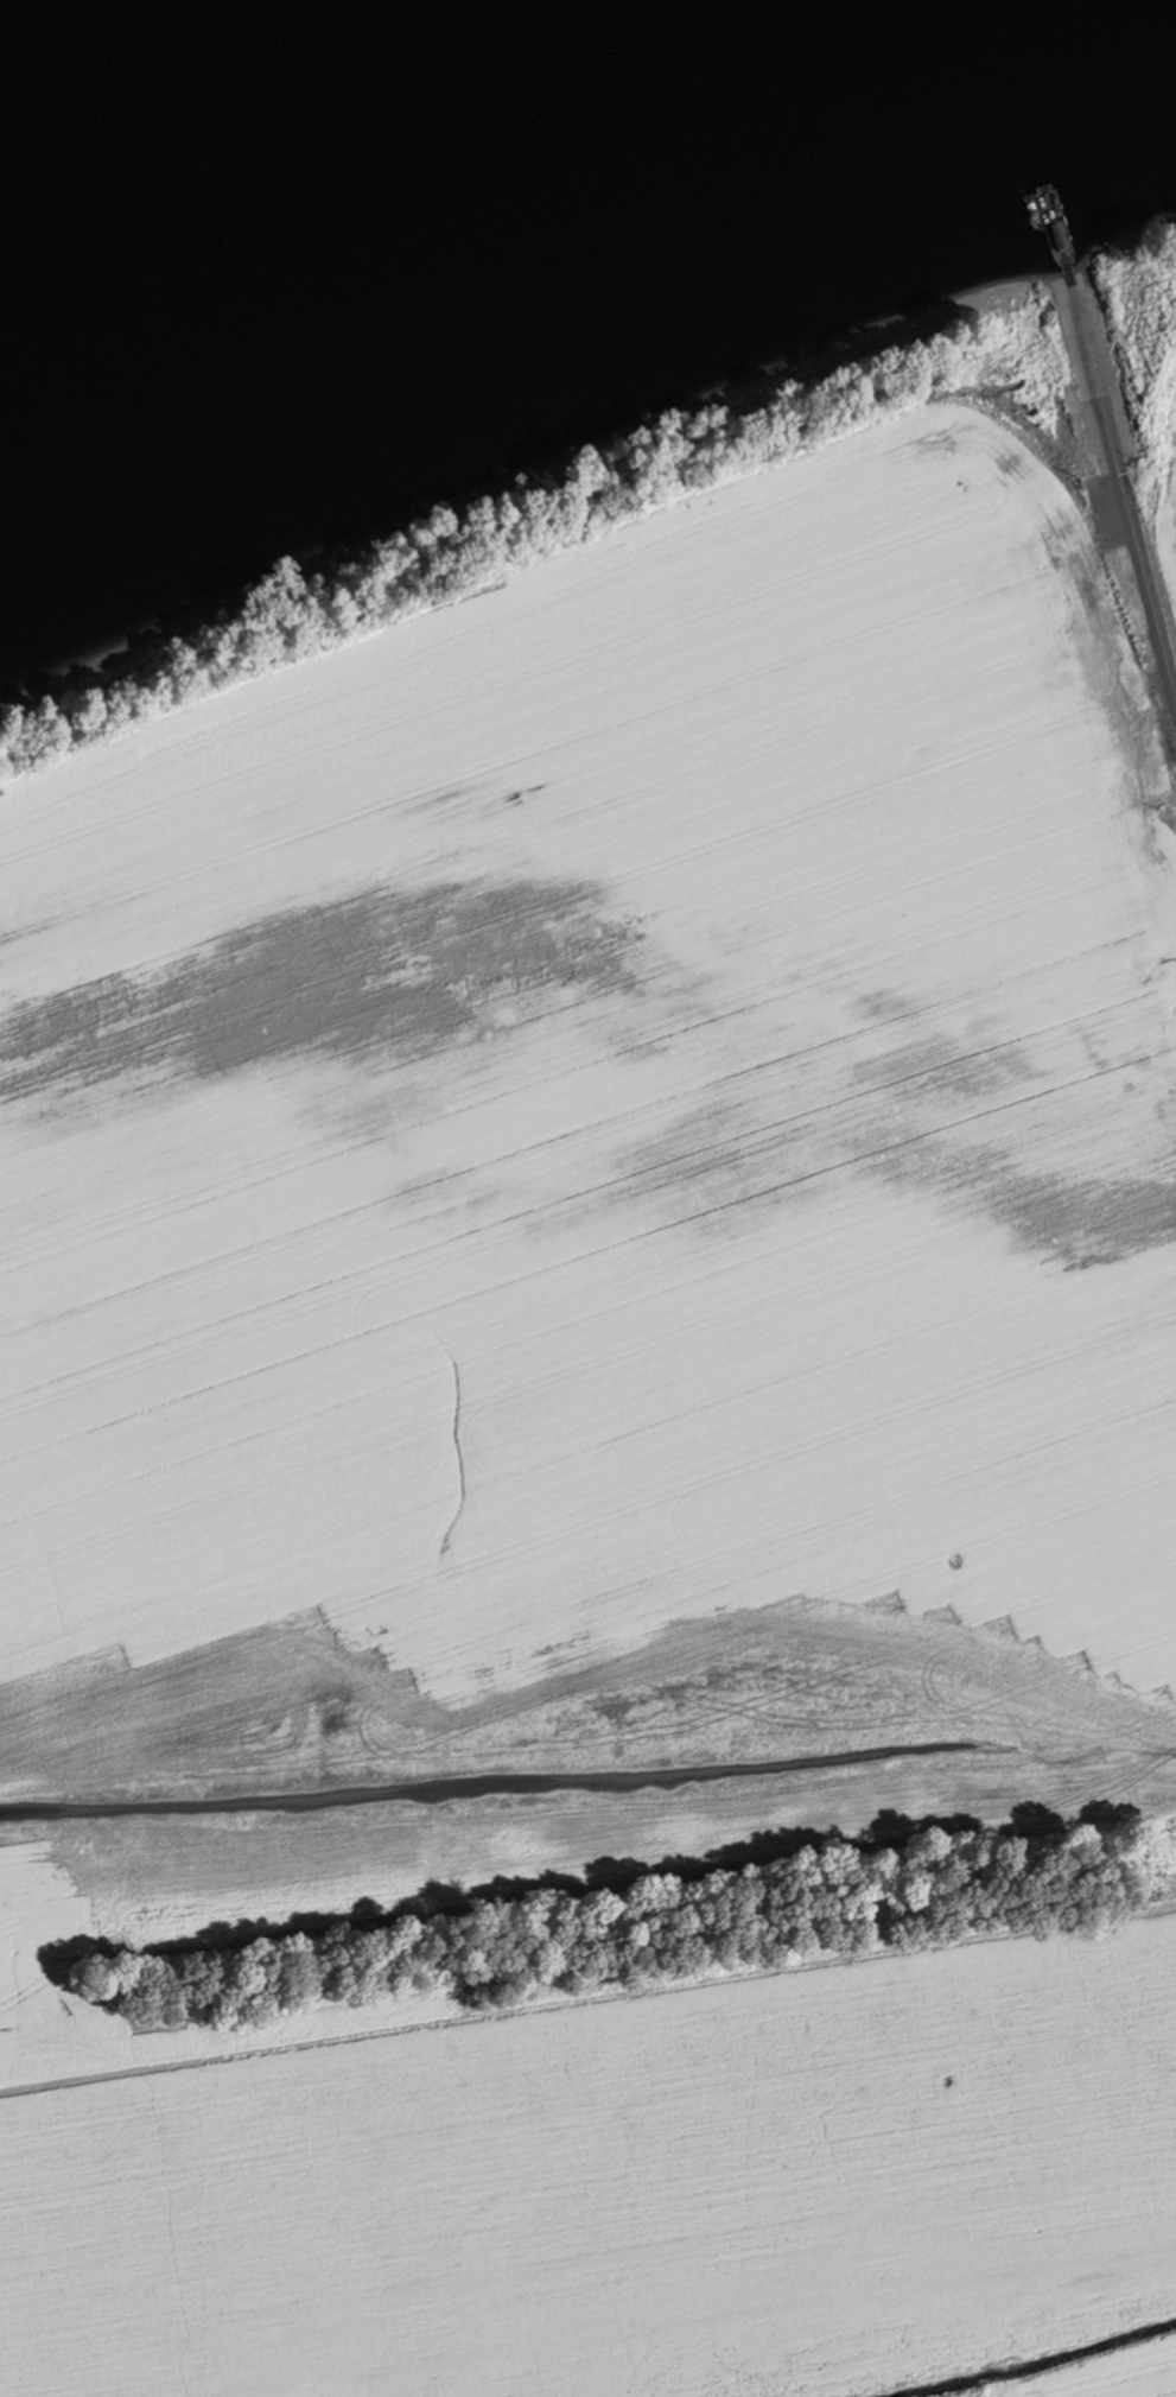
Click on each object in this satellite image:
road: (1123, 493)

